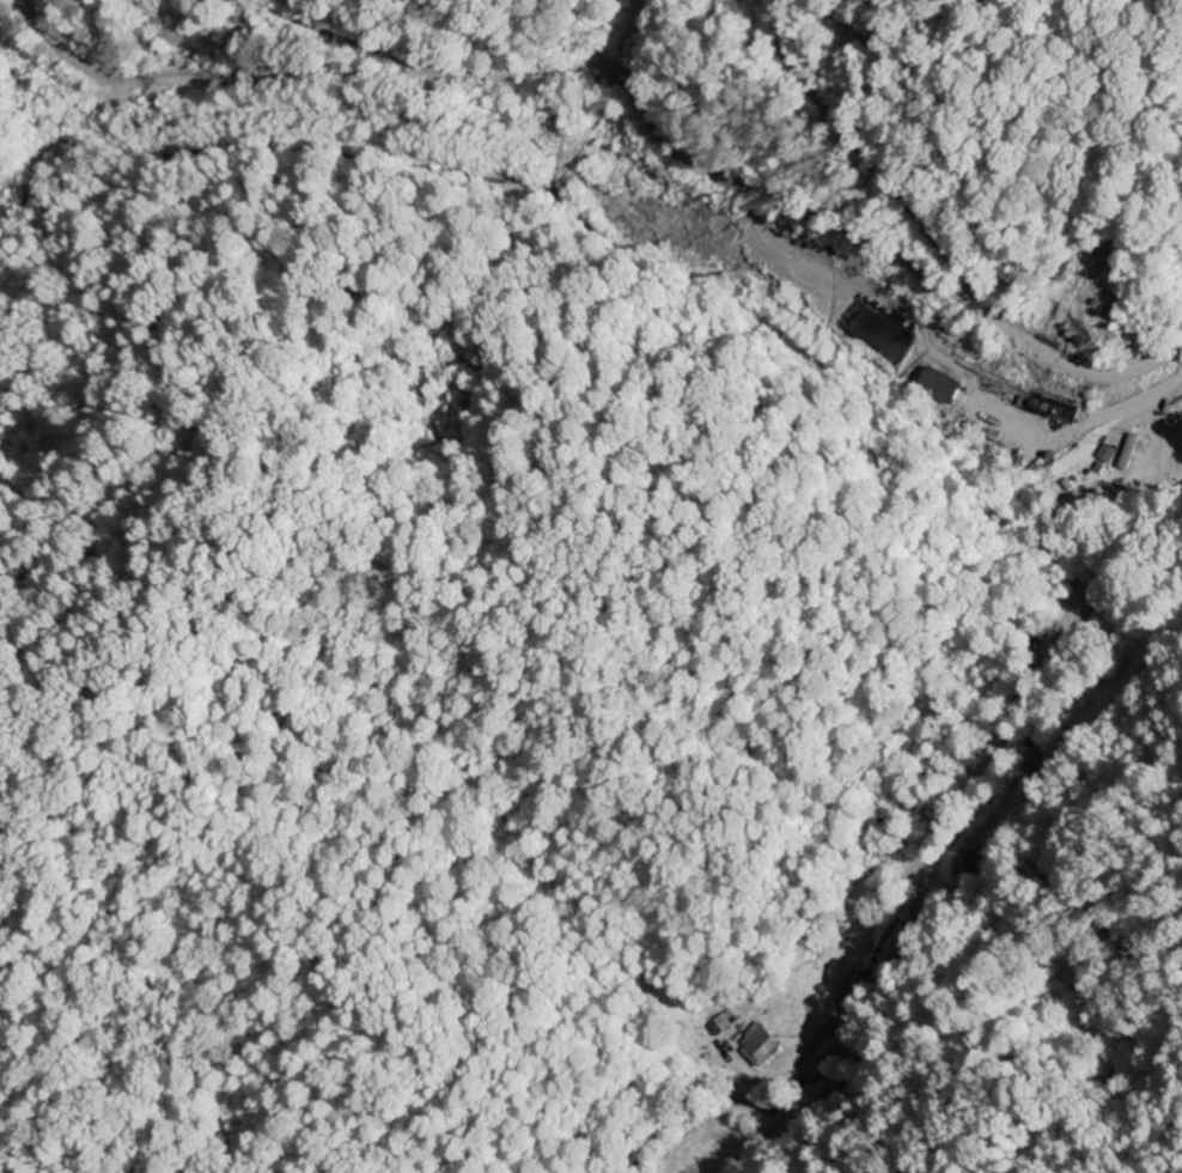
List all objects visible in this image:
building: (945, 385)
building: (1110, 455)
road: (1177, 589)
road: (948, 825)
building: (764, 1046)

